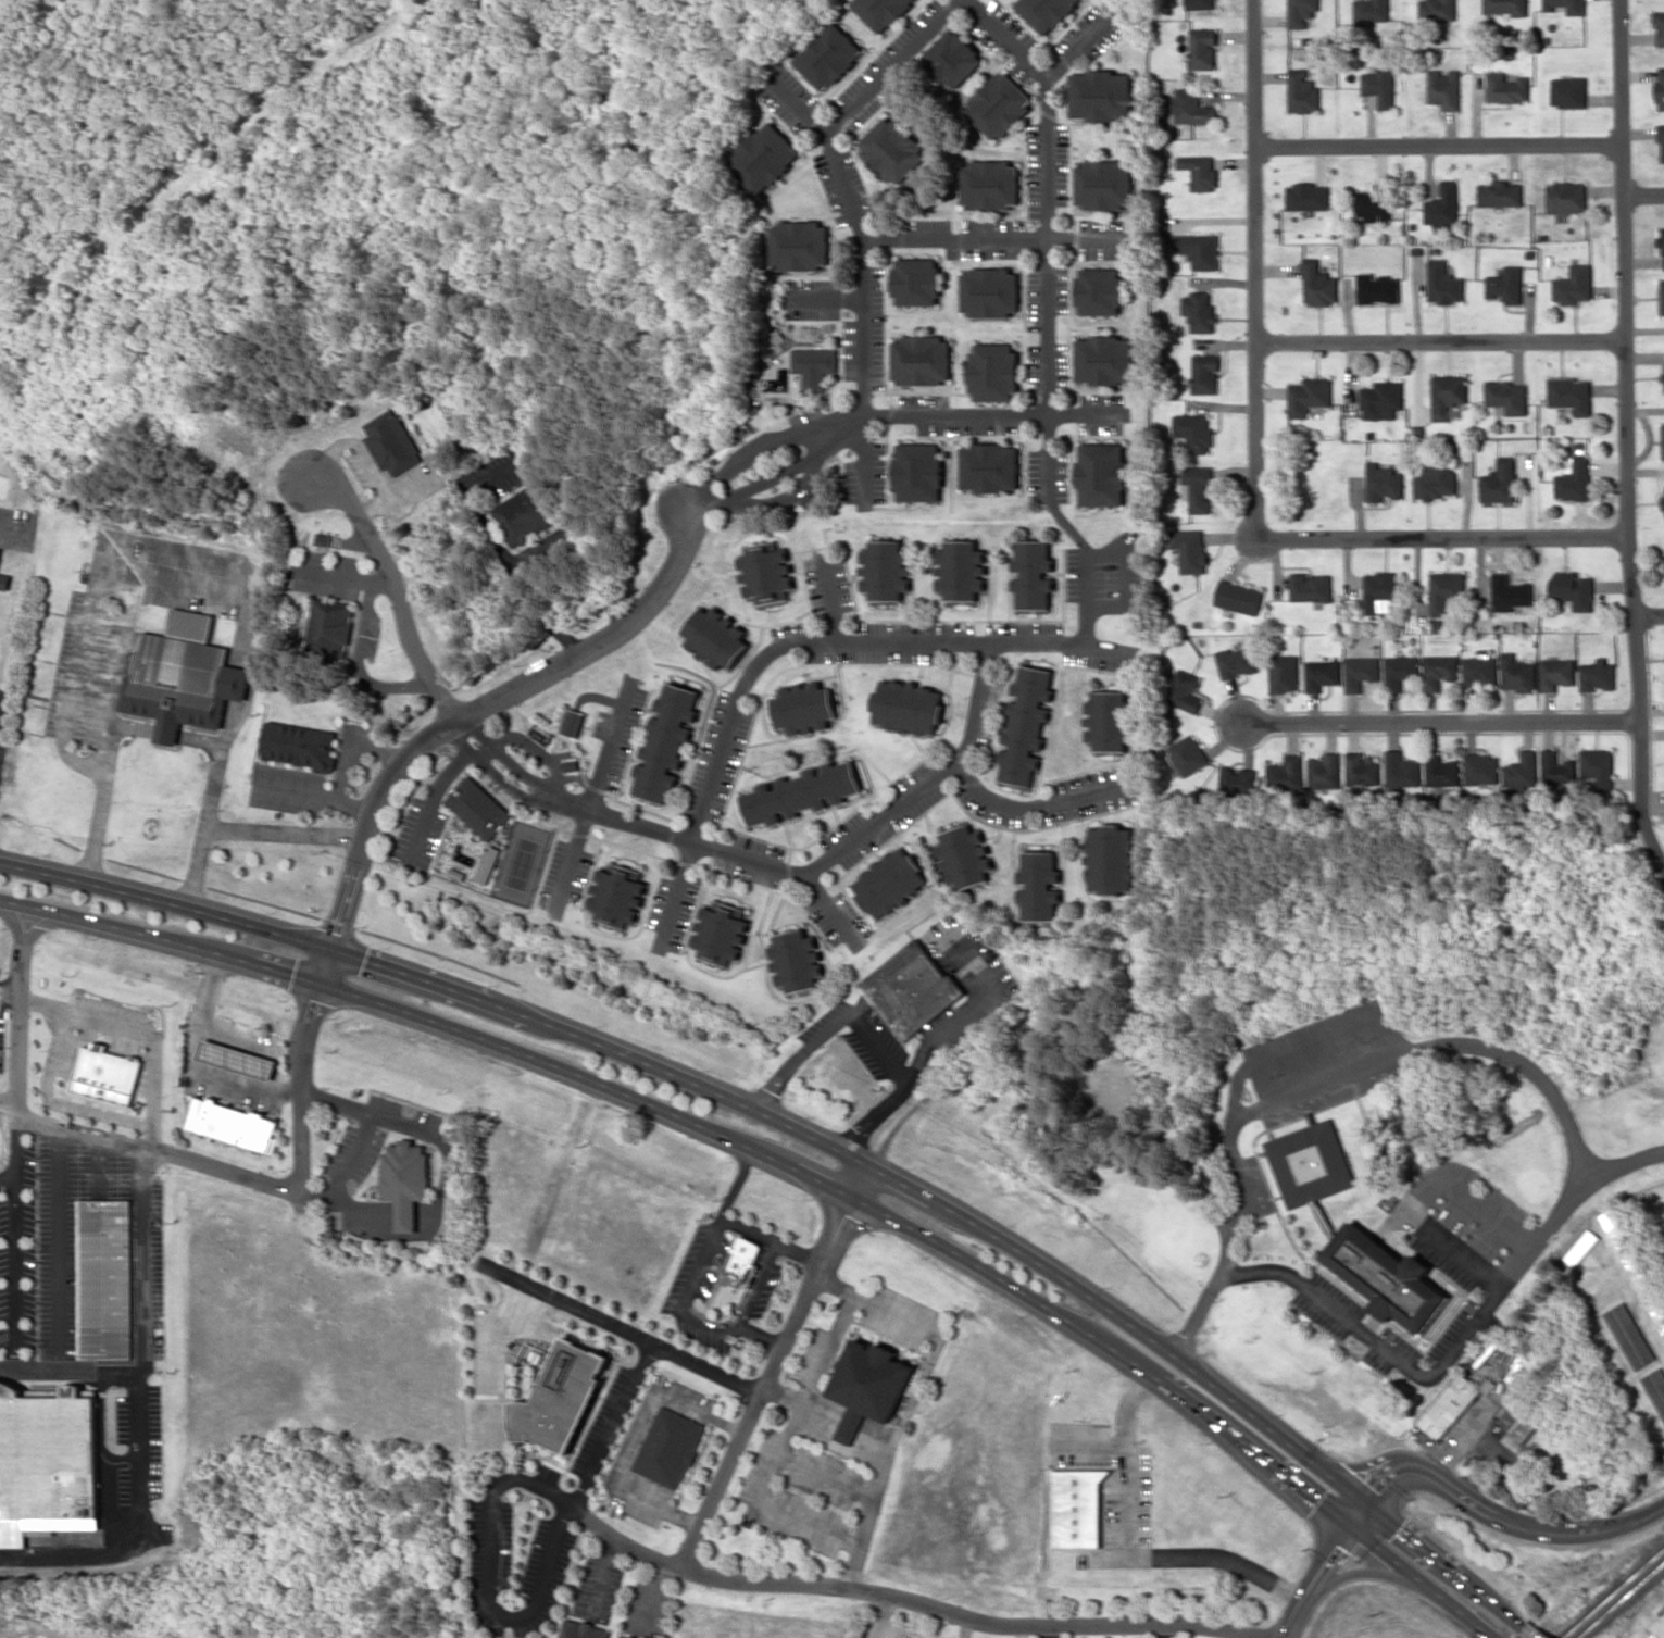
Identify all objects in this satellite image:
building: (1201, 3)
building: (1505, 5)
building: (1566, 5)
building: (1371, 10)
building: (881, 11)
building: (1437, 11)
building: (1047, 12)
building: (1301, 12)
building: (1659, 27)
building: (1202, 49)
building: (828, 55)
building: (952, 58)
building: (1379, 86)
building: (1506, 87)
building: (1444, 88)
building: (1660, 88)
building: (1301, 90)
building: (1568, 91)
building: (1101, 95)
building: (1000, 104)
building: (1191, 108)
building: (1661, 139)
road: (1438, 145)
building: (891, 149)
building: (763, 158)
building: (1198, 171)
building: (990, 184)
building: (1104, 184)
building: (1500, 193)
road: (1643, 193)
building: (1306, 196)
building: (1566, 197)
building: (1374, 202)
building: (1443, 205)
road: (849, 221)
road: (1044, 234)
road: (988, 241)
building: (799, 245)
building: (1662, 248)
building: (1198, 249)
road: (1623, 266)
building: (916, 280)
building: (1443, 283)
building: (1318, 284)
building: (1506, 285)
building: (1574, 285)
building: (1378, 288)
building: (1099, 290)
building: (990, 291)
building: (1662, 296)
building: (1200, 310)
building: (777, 341)
road: (1439, 341)
building: (921, 360)
building: (1104, 360)
building: (814, 366)
building: (993, 371)
building: (1205, 374)
building: (1448, 393)
building: (1571, 393)
building: (1309, 396)
building: (1507, 396)
building: (1381, 399)
building: (436, 423)
building: (1193, 432)
building: (1663, 439)
building: (391, 442)
road: (1254, 453)
building: (989, 467)
building: (917, 472)
building: (1102, 474)
building: (1574, 478)
building: (1436, 480)
building: (1383, 482)
building: (1500, 482)
building: (1197, 488)
building: (526, 514)
building: (322, 538)
road: (359, 539)
building: (0, 547)
building: (1189, 549)
road: (1081, 568)
building: (885, 570)
building: (961, 570)
building: (766, 572)
building: (1033, 574)
road: (341, 575)
building: (3, 578)
road: (173, 587)
building: (1310, 587)
building: (1379, 589)
building: (1573, 590)
building: (1446, 591)
building: (1510, 592)
building: (1238, 597)
road: (1649, 614)
road: (630, 620)
building: (191, 624)
building: (324, 632)
building: (715, 637)
road: (787, 645)
building: (1236, 661)
road: (77, 665)
road: (359, 665)
road: (253, 668)
building: (1438, 671)
building: (1479, 671)
building: (1359, 672)
building: (1399, 672)
building: (1283, 673)
building: (1517, 673)
building: (1556, 673)
building: (1321, 674)
building: (1597, 675)
building: (183, 683)
building: (1185, 691)
road: (1639, 703)
building: (908, 707)
building: (803, 708)
building: (1110, 721)
road: (1442, 721)
building: (574, 722)
building: (1026, 725)
road: (112, 732)
road: (168, 737)
building: (296, 745)
road: (378, 750)
building: (655, 750)
building: (1188, 754)
road: (350, 762)
building: (1360, 767)
building: (1599, 767)
building: (1399, 768)
building: (1479, 768)
building: (1557, 768)
building: (1286, 770)
building: (1321, 770)
building: (1522, 770)
building: (1438, 772)
road: (312, 793)
building: (801, 793)
road: (1034, 803)
building: (471, 813)
road: (625, 823)
road: (284, 833)
building: (487, 864)
park: (517, 864)
building: (954, 864)
building: (1098, 867)
building: (879, 889)
building: (1028, 893)
building: (605, 903)
road: (27, 939)
building: (708, 941)
traffic signals: (324, 965)
building: (784, 968)
parking lot: (967, 980)
road: (10, 985)
road: (442, 987)
building: (912, 989)
road: (968, 1006)
road: (829, 1018)
road: (435, 1022)
road: (20, 1028)
parking lot: (861, 1034)
road: (1441, 1043)
building: (237, 1059)
gas station: (237, 1059)
road: (1265, 1059)
building: (109, 1068)
road: (875, 1118)
building: (1415, 1120)
building: (235, 1124)
road: (17, 1147)
building: (1388, 1153)
road: (99, 1162)
building: (1310, 1163)
road: (243, 1174)
building: (406, 1180)
road: (9, 1183)
road: (1422, 1196)
road: (1391, 1221)
building: (1614, 1229)
road: (771, 1239)
road: (60, 1246)
building: (1580, 1247)
building: (742, 1256)
building: (1638, 1271)
road: (16, 1275)
building: (1386, 1277)
building: (105, 1278)
road: (1213, 1286)
road: (681, 1303)
building: (1656, 1311)
road: (620, 1327)
building: (1629, 1334)
road: (761, 1335)
road: (143, 1341)
road: (1459, 1341)
road: (773, 1365)
road: (68, 1367)
road: (1208, 1379)
building: (868, 1385)
building: (1655, 1386)
building: (561, 1397)
road: (1185, 1400)
building: (1449, 1404)
building: (1519, 1420)
road: (613, 1425)
road: (99, 1427)
building: (668, 1447)
building: (47, 1452)
traffic signals: (1367, 1505)
building: (1077, 1508)
road: (1505, 1523)
traffic signals: (1353, 1527)
road: (71, 1553)
road: (1361, 1568)
road: (1324, 1570)
road: (747, 1578)
railway: (1613, 1593)
railway: (1621, 1600)
road: (512, 1618)
road: (1155, 1623)
building: (1659, 1626)
building: (583, 1629)
road: (1532, 1633)
building: (625, 1636)
building: (909, 1637)

